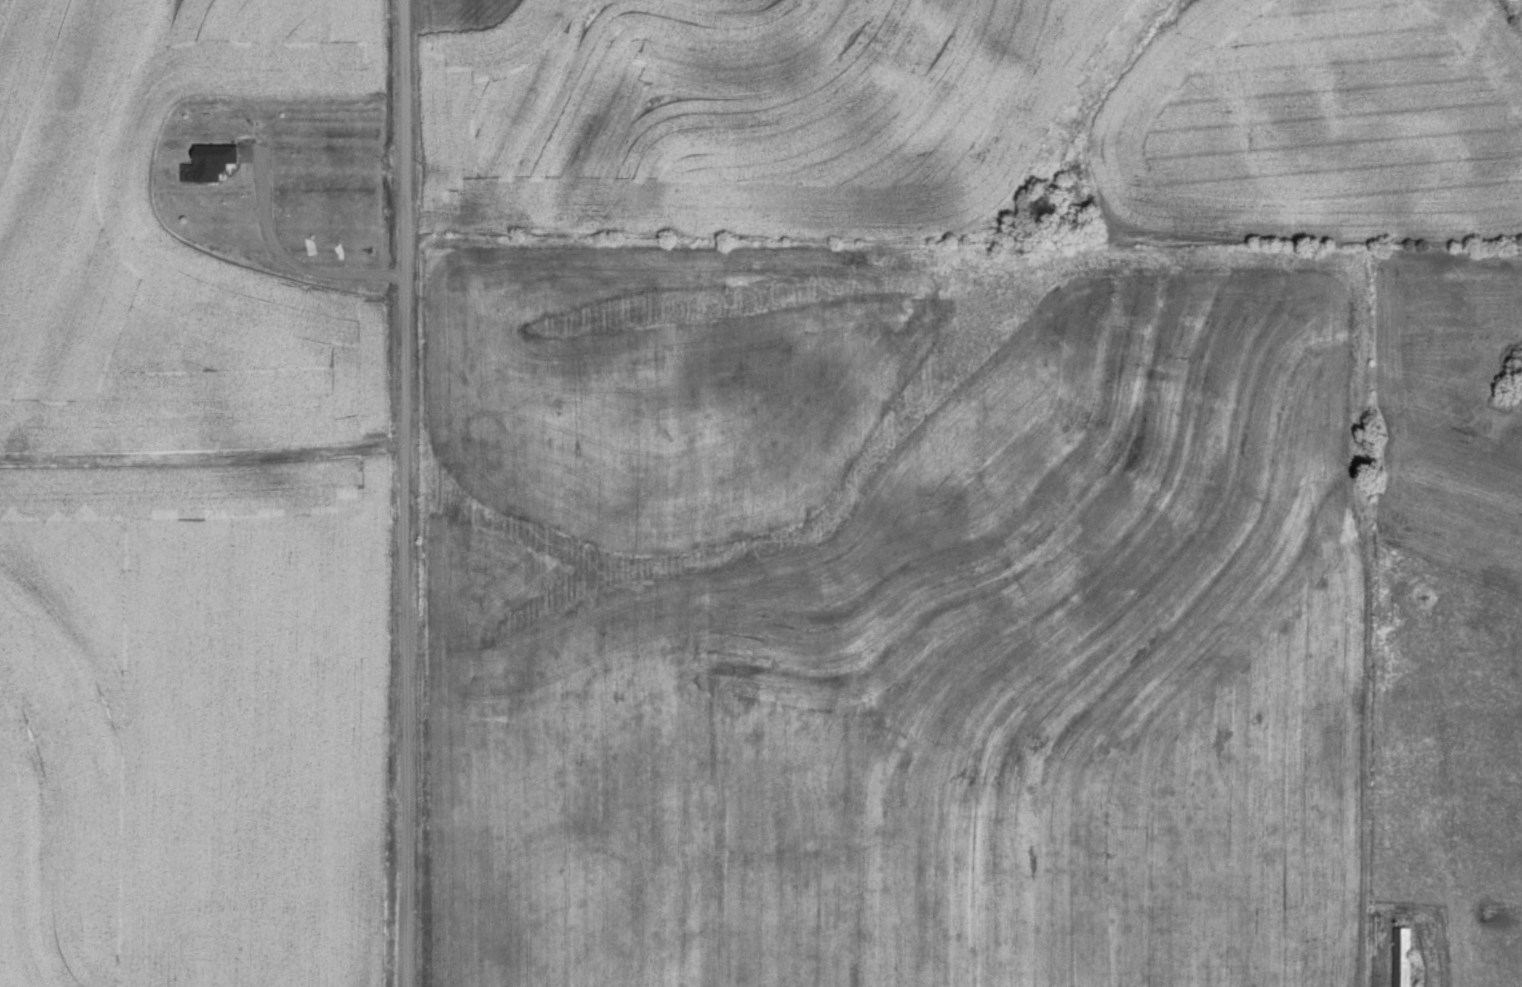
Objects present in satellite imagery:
building: (209, 161)
road: (402, 493)
building: (1400, 957)

